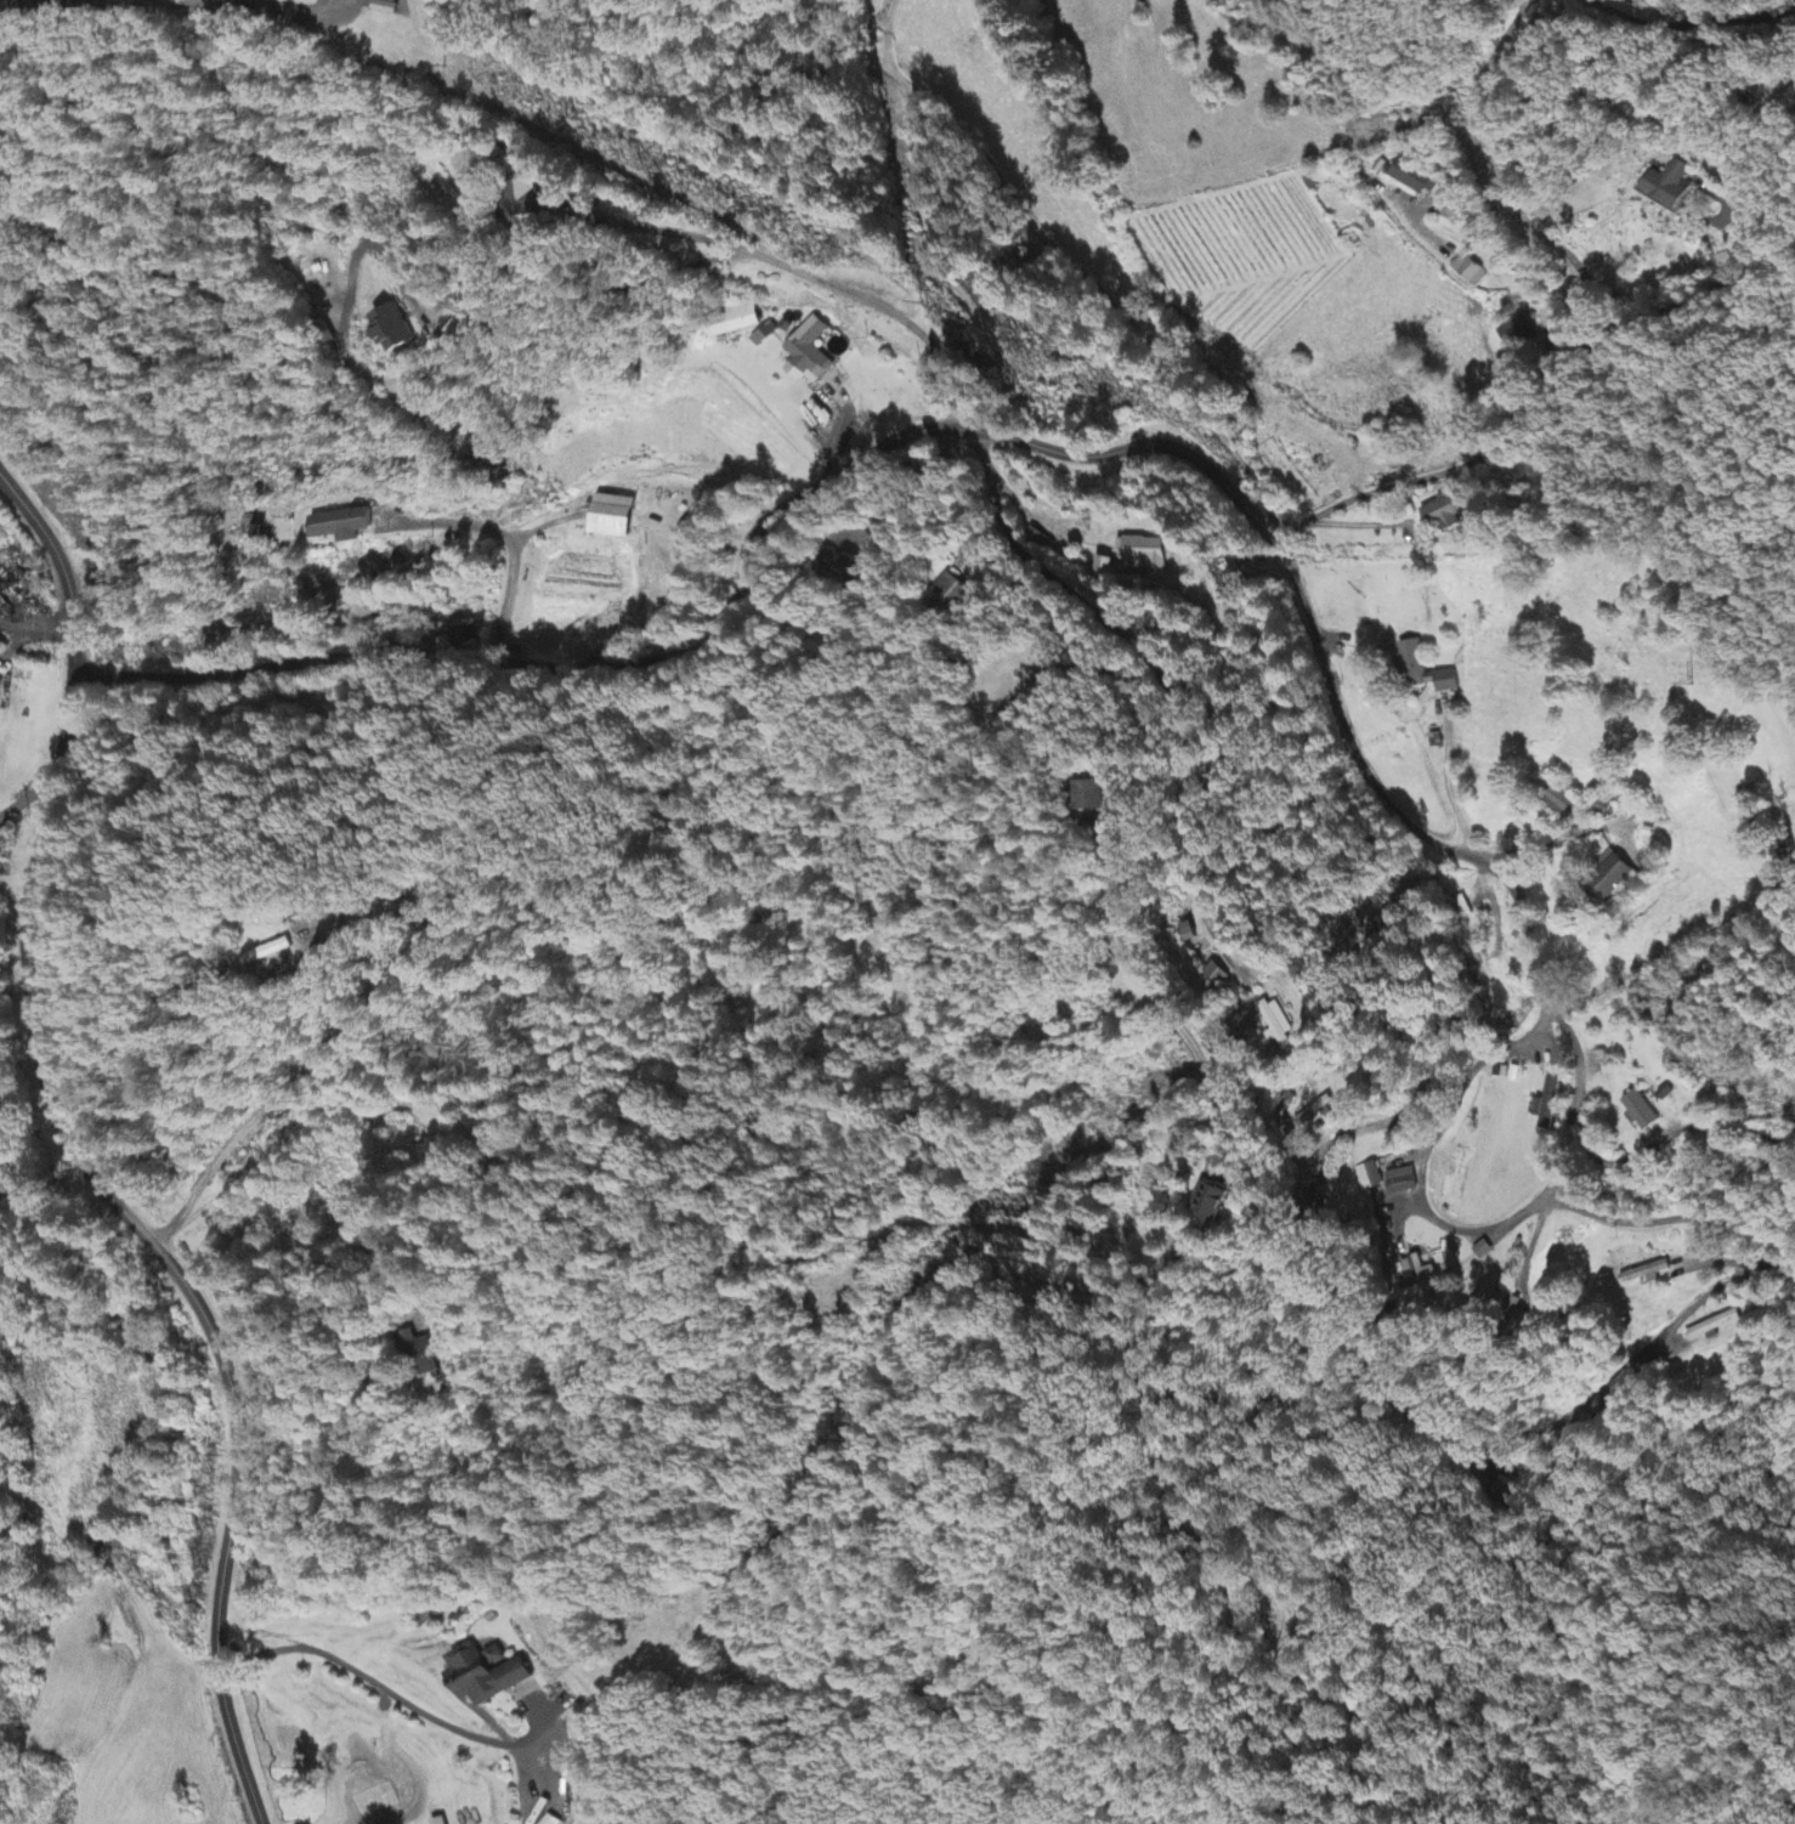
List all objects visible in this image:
road: (253, 0)
road: (84, 1)
building: (384, 1)
building: (1411, 181)
road: (1495, 186)
building: (1670, 186)
building: (526, 200)
road: (923, 223)
building: (1468, 272)
road: (1681, 295)
building: (732, 322)
building: (393, 332)
building: (1518, 332)
building: (763, 336)
building: (809, 351)
road: (1063, 452)
road: (1444, 472)
building: (1440, 516)
building: (612, 519)
building: (340, 527)
building: (1037, 543)
road: (510, 546)
building: (1142, 555)
building: (836, 570)
building: (949, 593)
building: (462, 639)
road: (503, 663)
road: (1156, 667)
building: (1422, 670)
building: (1092, 793)
building: (1558, 803)
building: (1604, 806)
building: (1608, 877)
building: (1187, 933)
road: (1530, 942)
road: (1681, 946)
building: (1213, 976)
building: (1276, 1024)
road: (1524, 1036)
building: (1546, 1103)
building: (1640, 1111)
road: (77, 1162)
building: (1366, 1178)
building: (1400, 1182)
building: (1210, 1203)
building: (1641, 1276)
building: (1712, 1327)
building: (418, 1356)
building: (1610, 1395)
building: (494, 1658)
building: (485, 1677)
building: (437, 1822)

